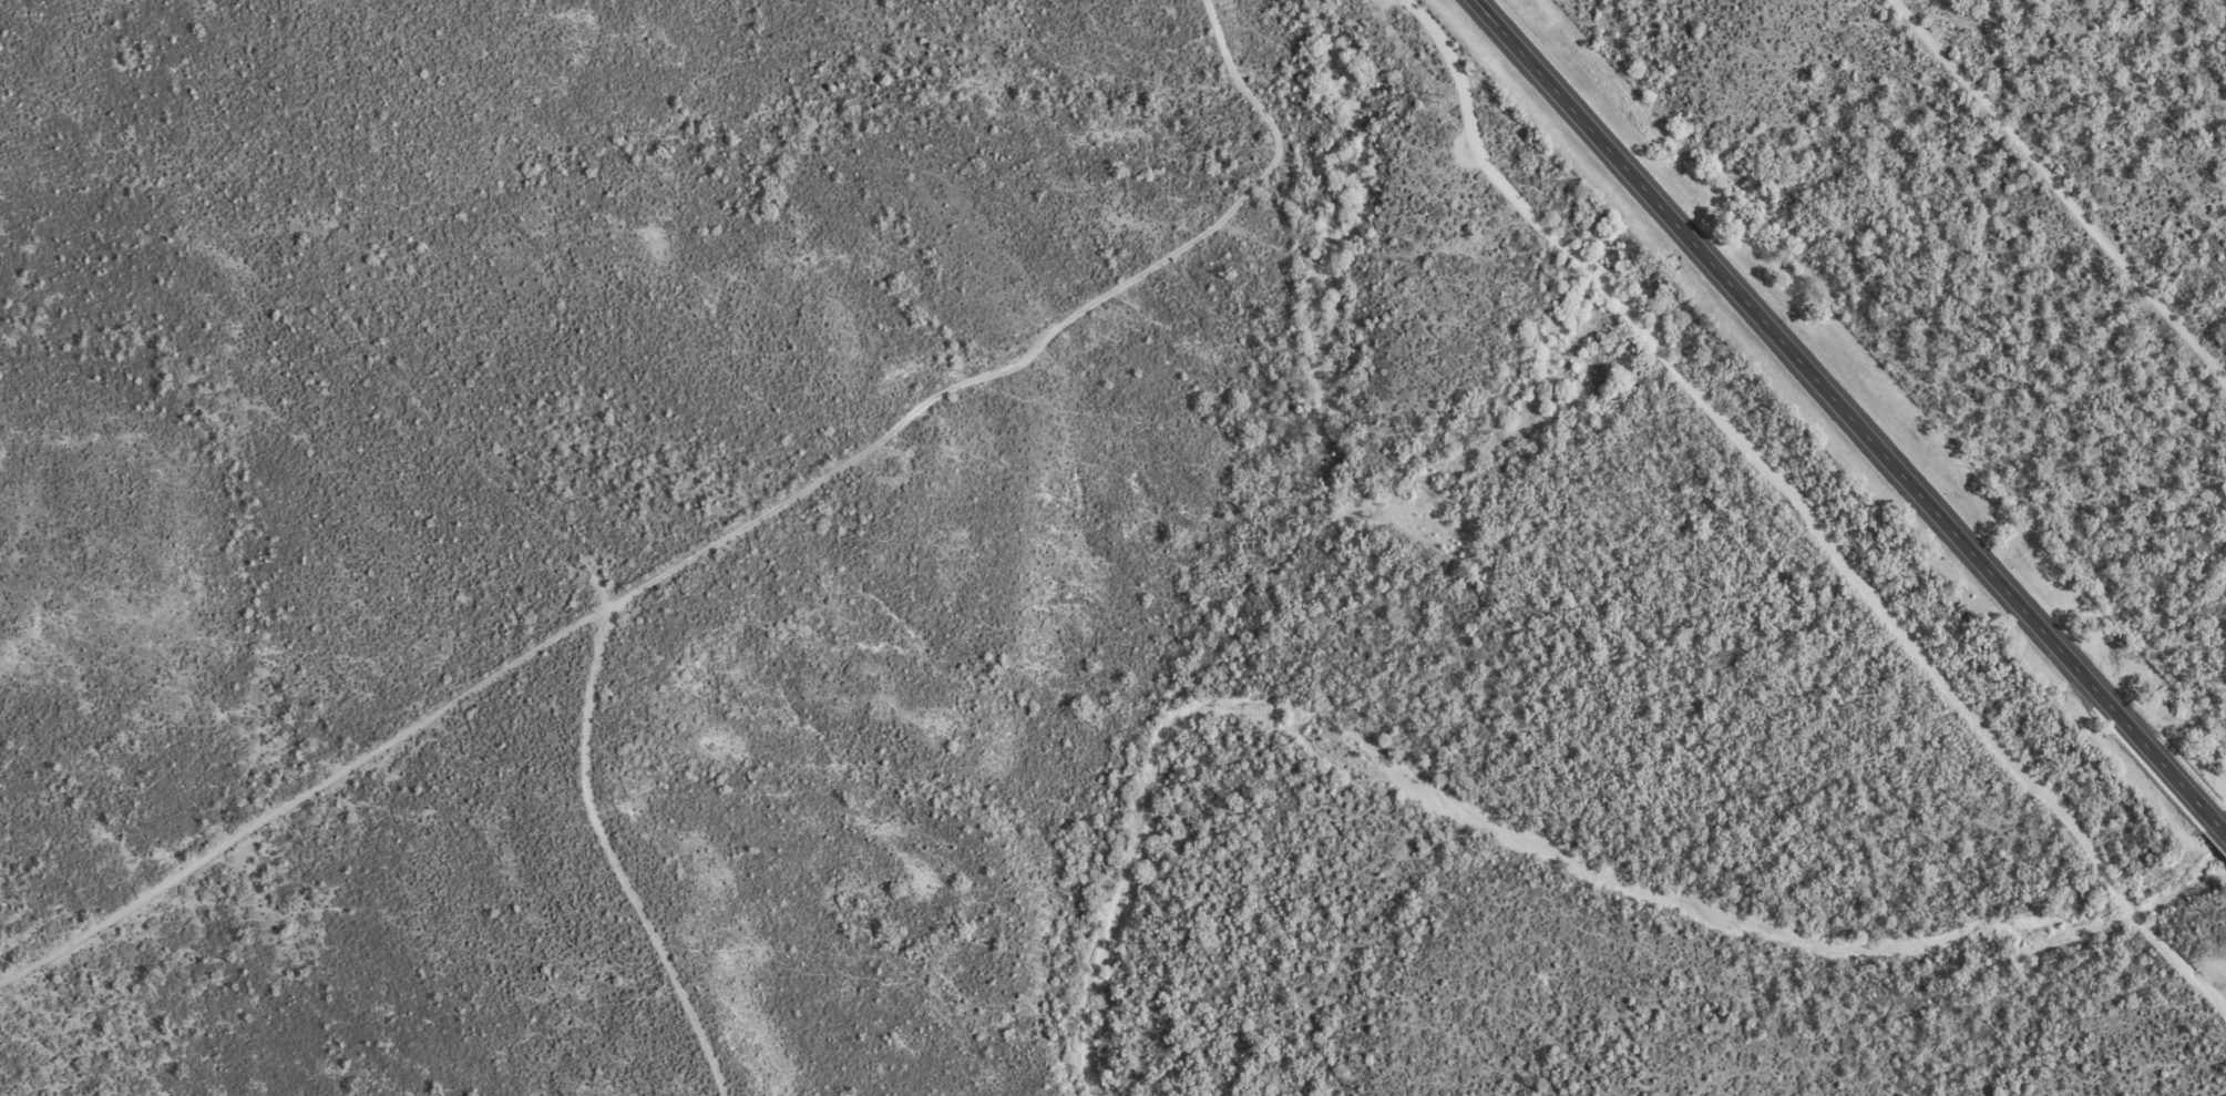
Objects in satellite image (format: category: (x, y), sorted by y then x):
power tower: (1447, 100)
road: (1847, 419)
road: (710, 470)
power tower: (1788, 506)
power tower: (2062, 831)

